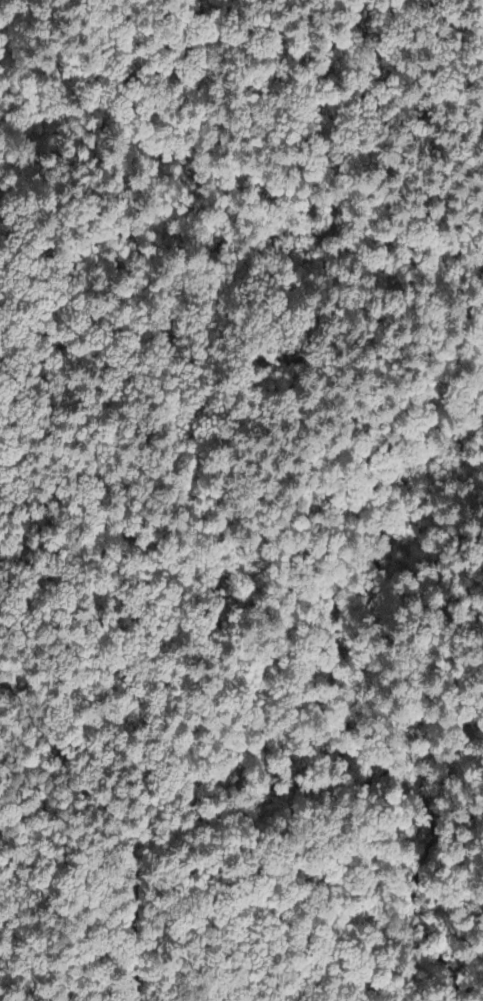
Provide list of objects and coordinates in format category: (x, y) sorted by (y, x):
road: (118, 822)

